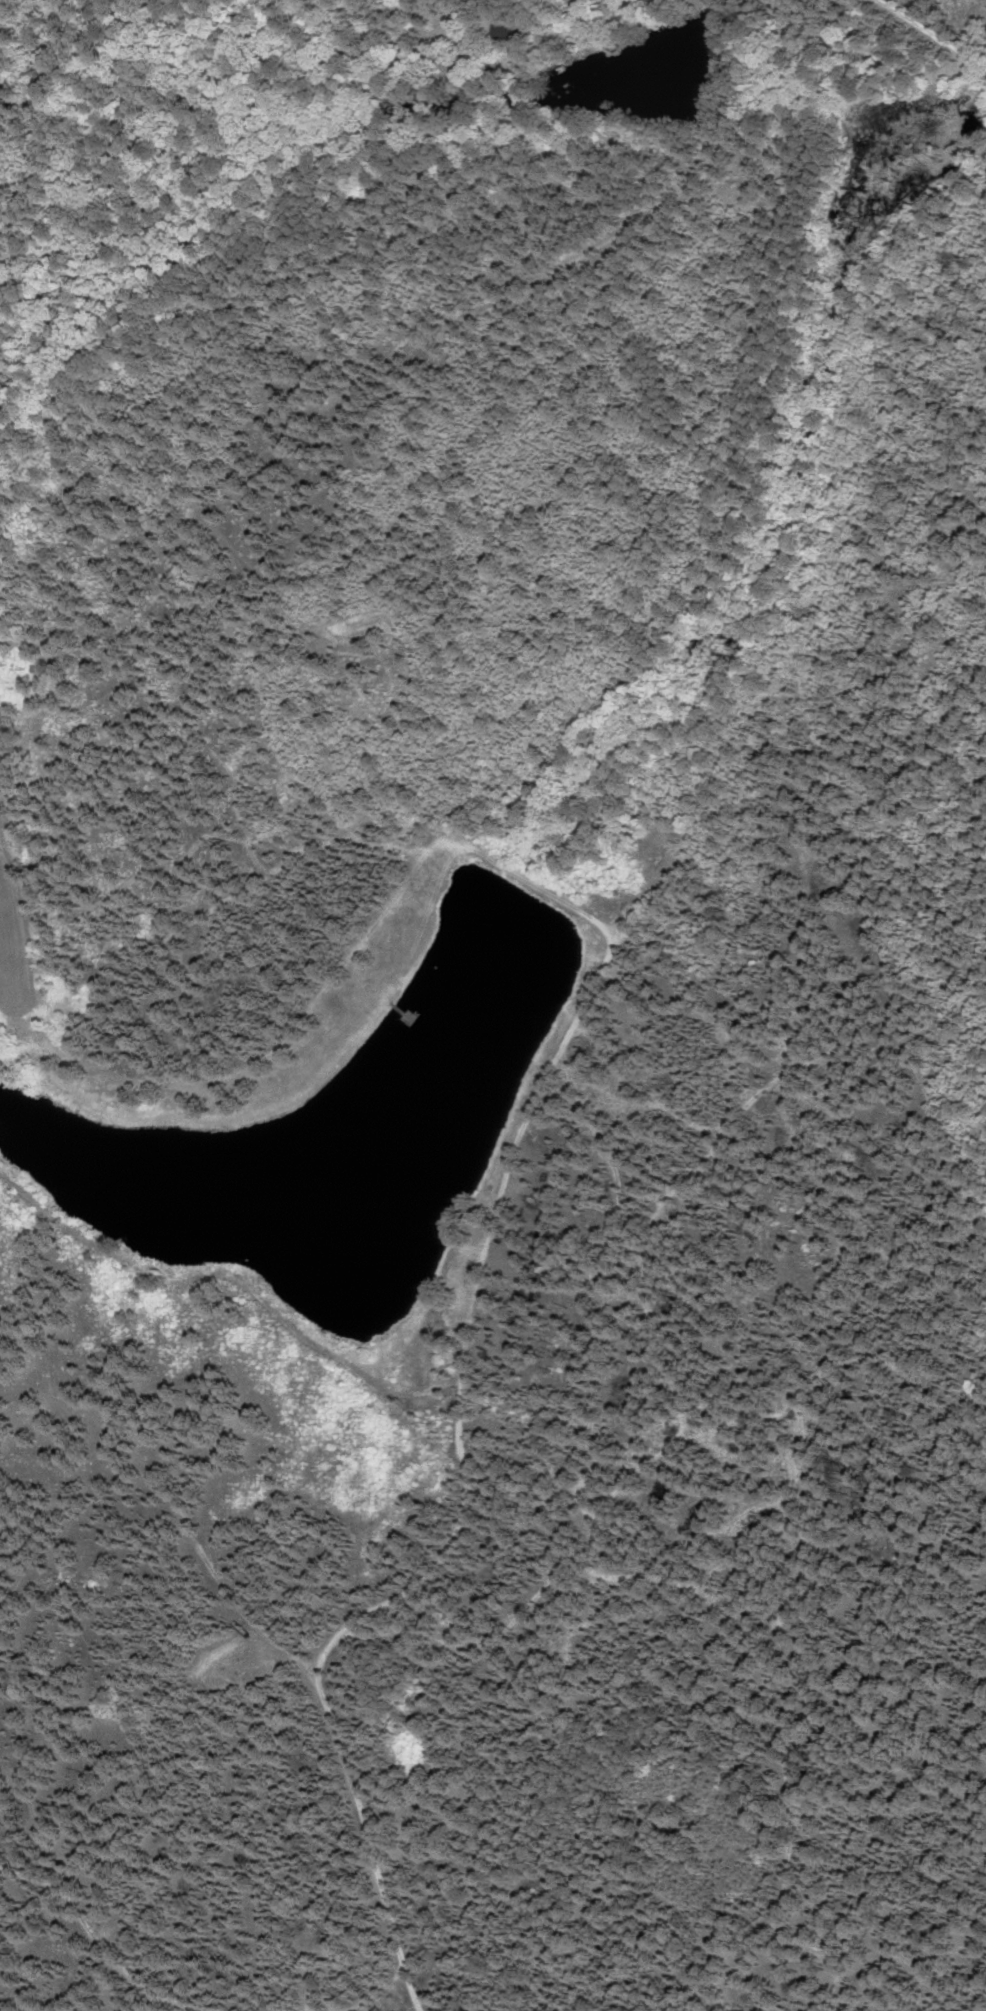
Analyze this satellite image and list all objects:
building: (509, 32)

